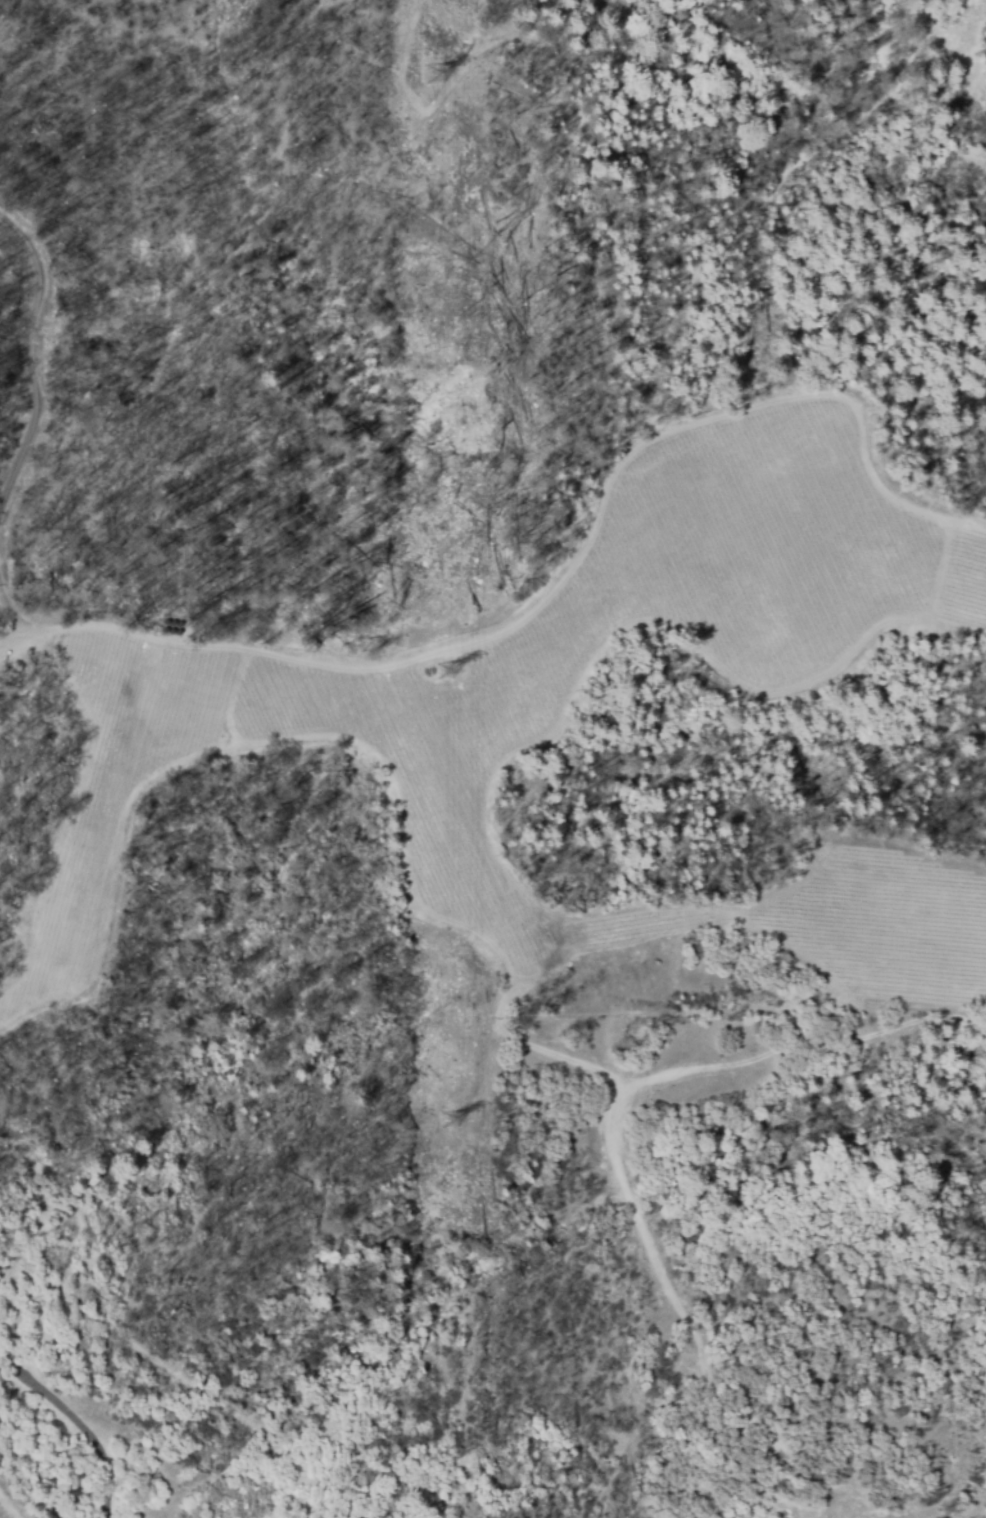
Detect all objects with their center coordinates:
power tower: (432, 75)
power tower: (442, 672)
power tower: (453, 1124)

